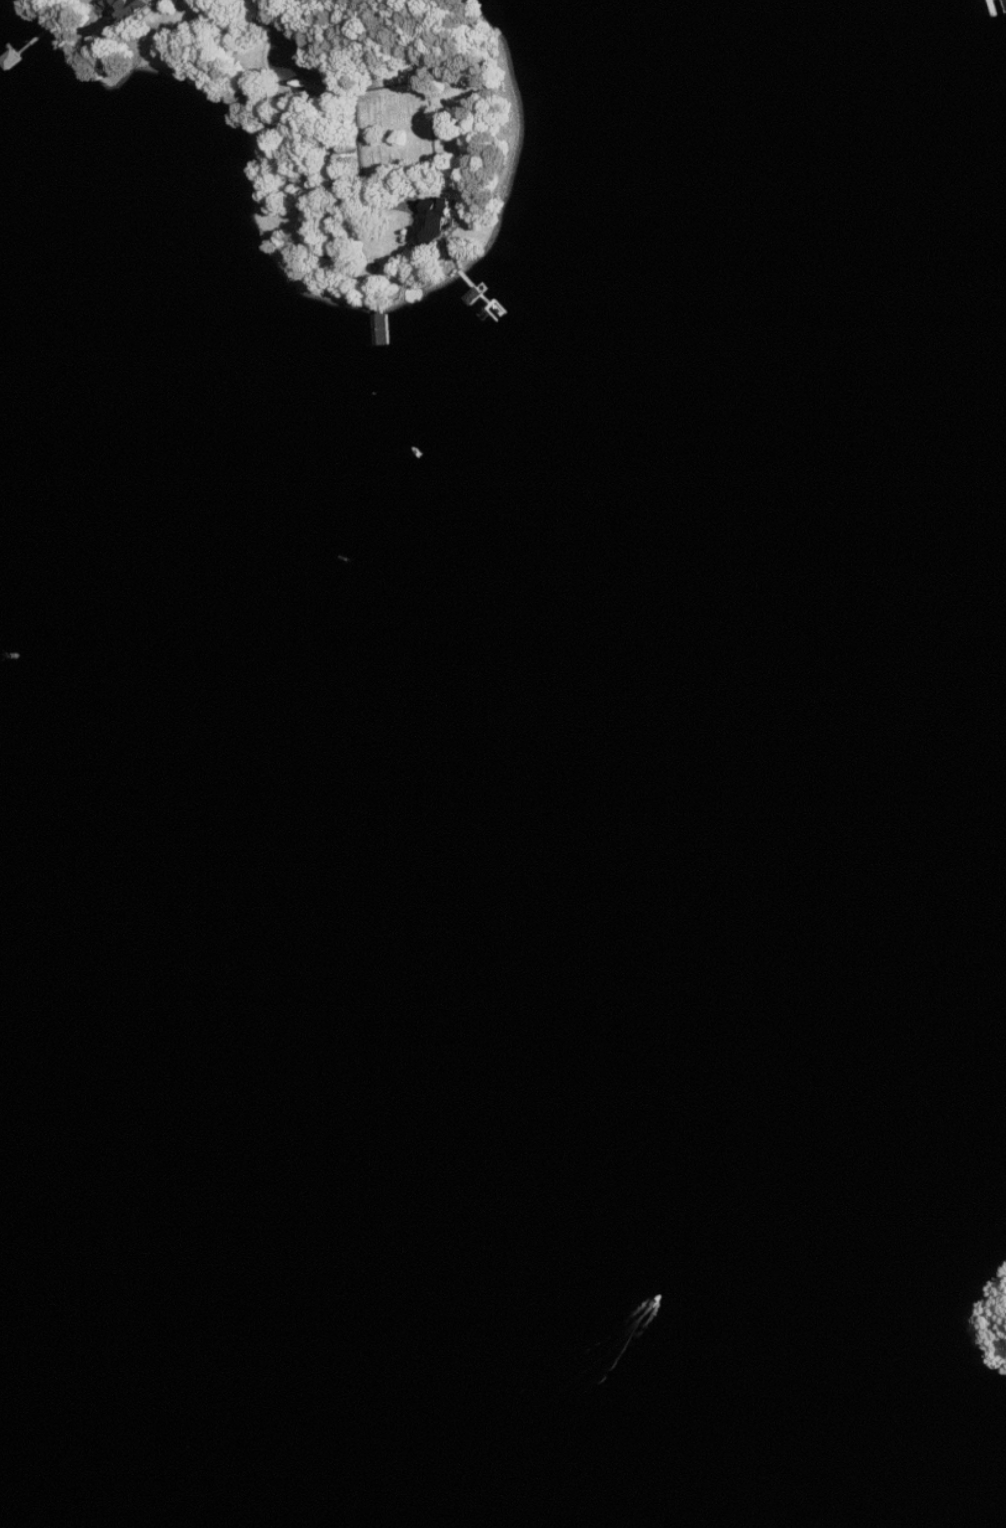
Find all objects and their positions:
building: (128, 10)
road: (278, 27)
park: (390, 122)
building: (436, 222)
road: (332, 254)
river: (468, 1023)

